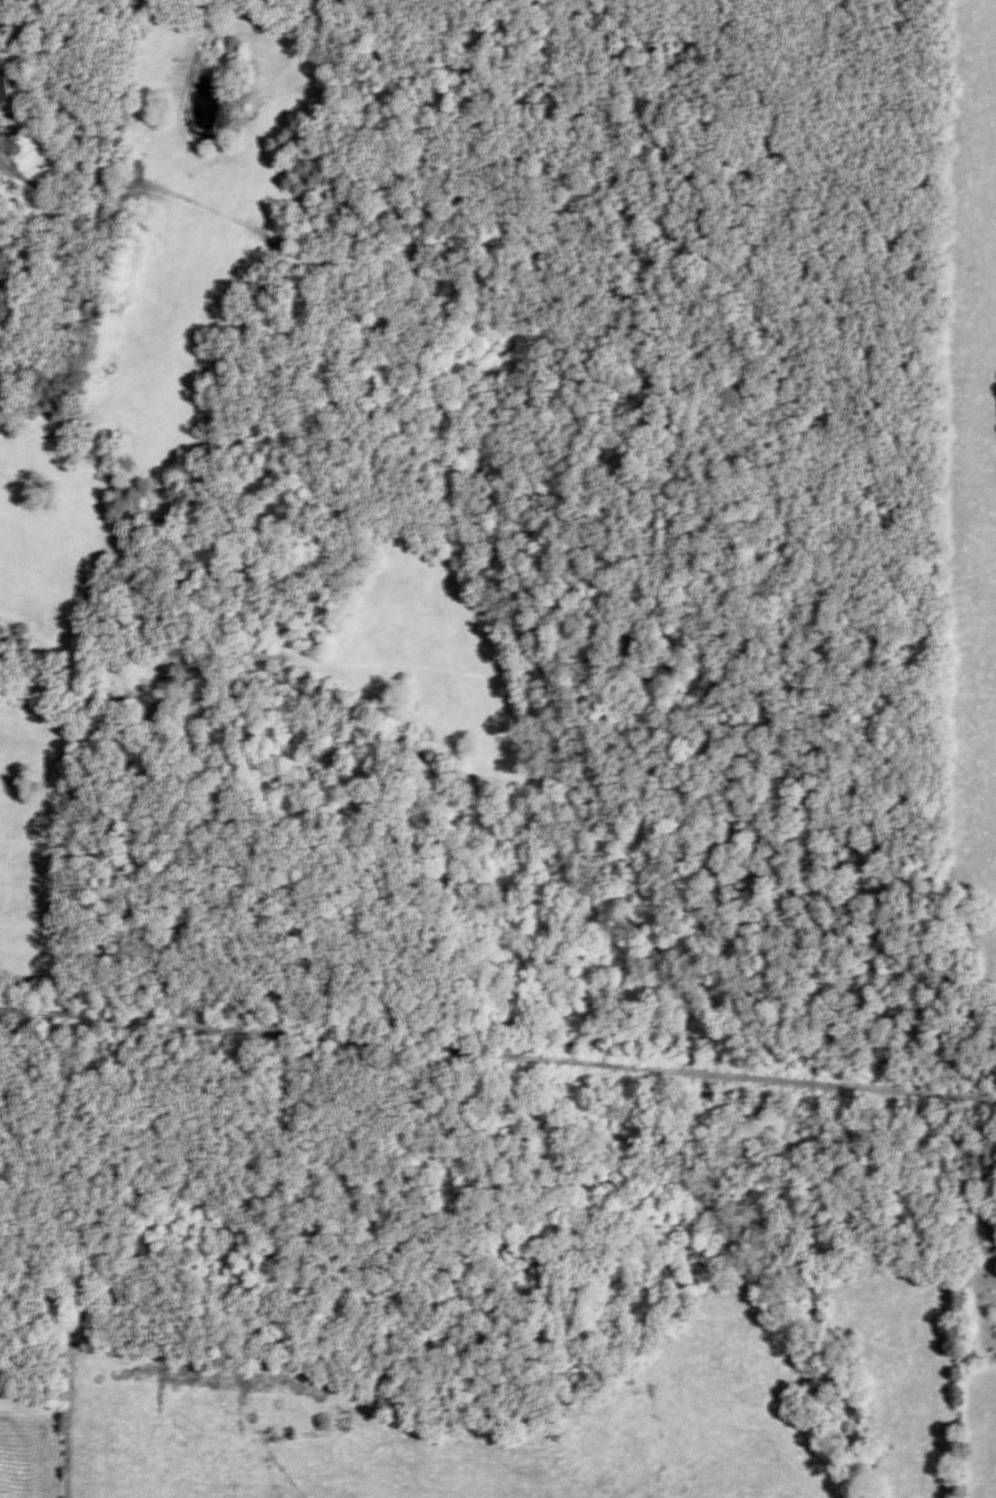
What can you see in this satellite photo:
building: (6, 87)

